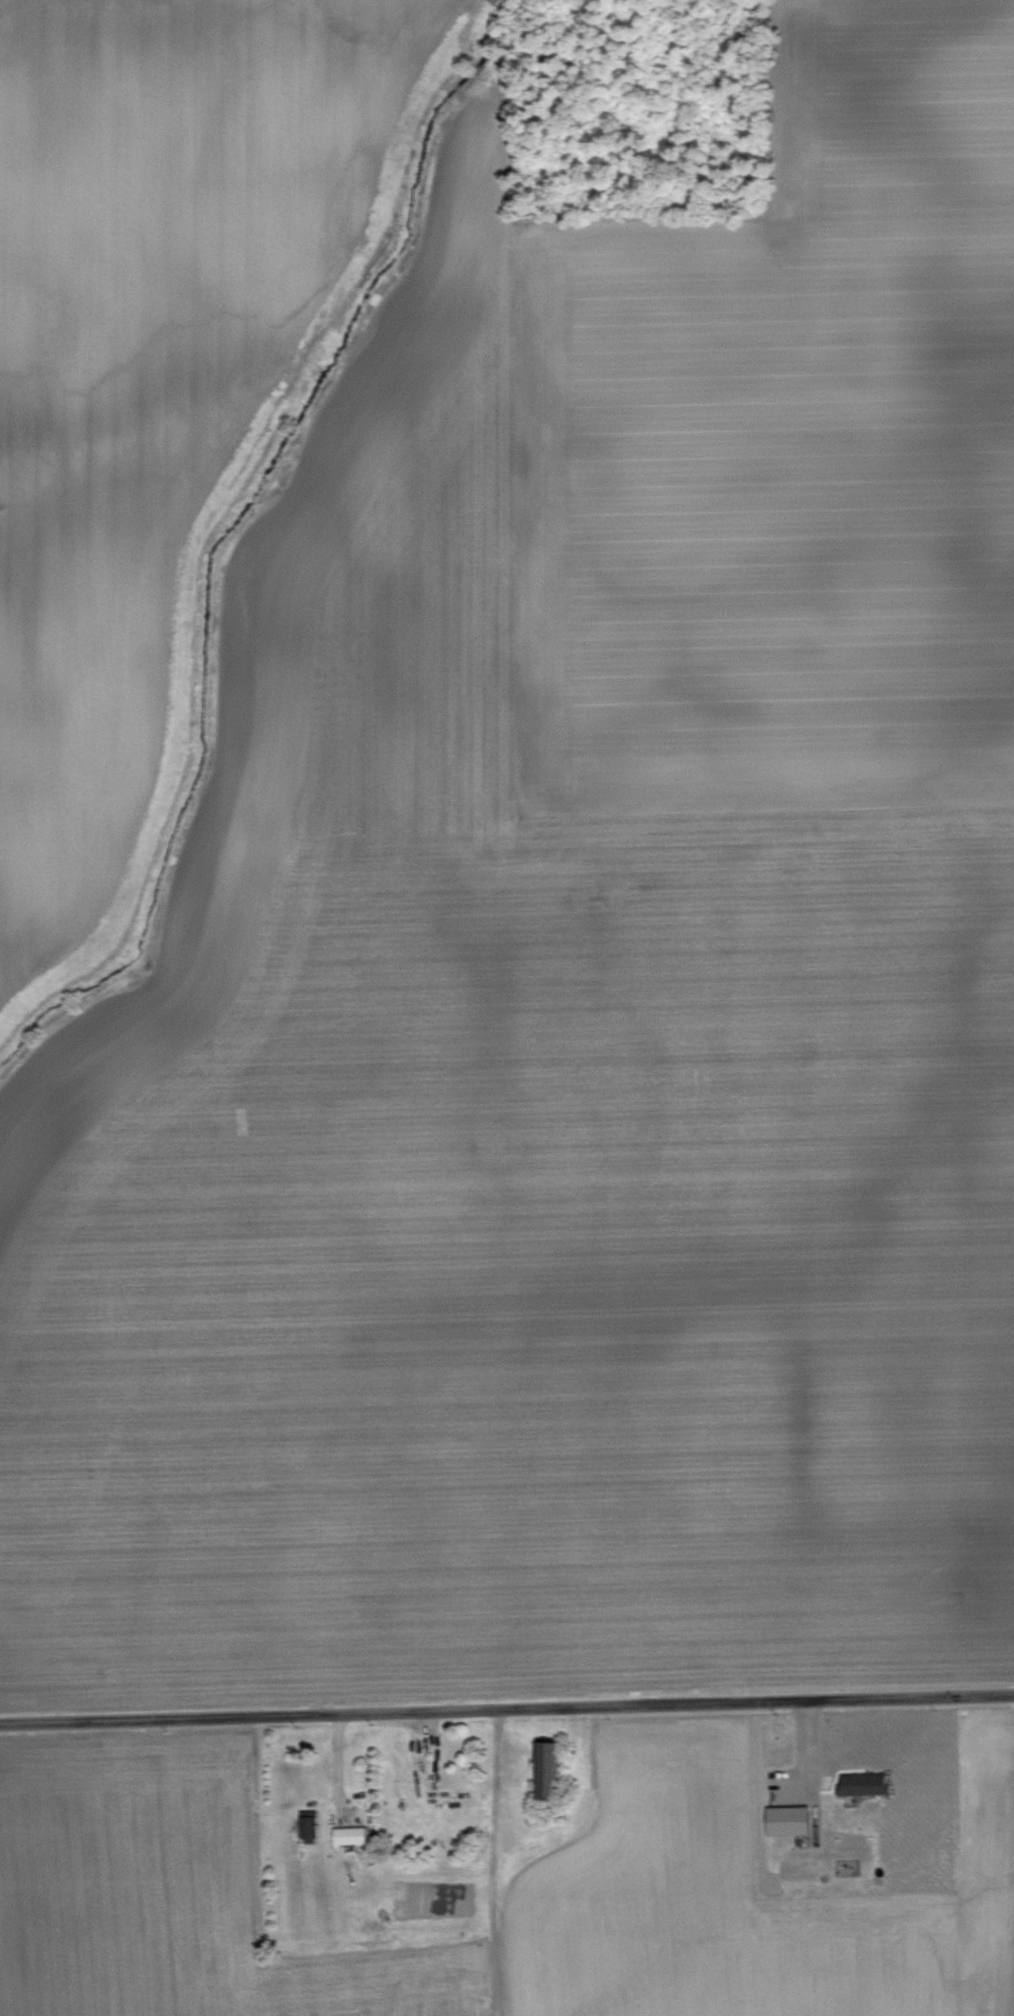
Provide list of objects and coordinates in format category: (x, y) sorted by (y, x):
road: (507, 1708)
building: (549, 1769)
road: (332, 1777)
building: (869, 1780)
building: (789, 1821)
building: (351, 1835)

